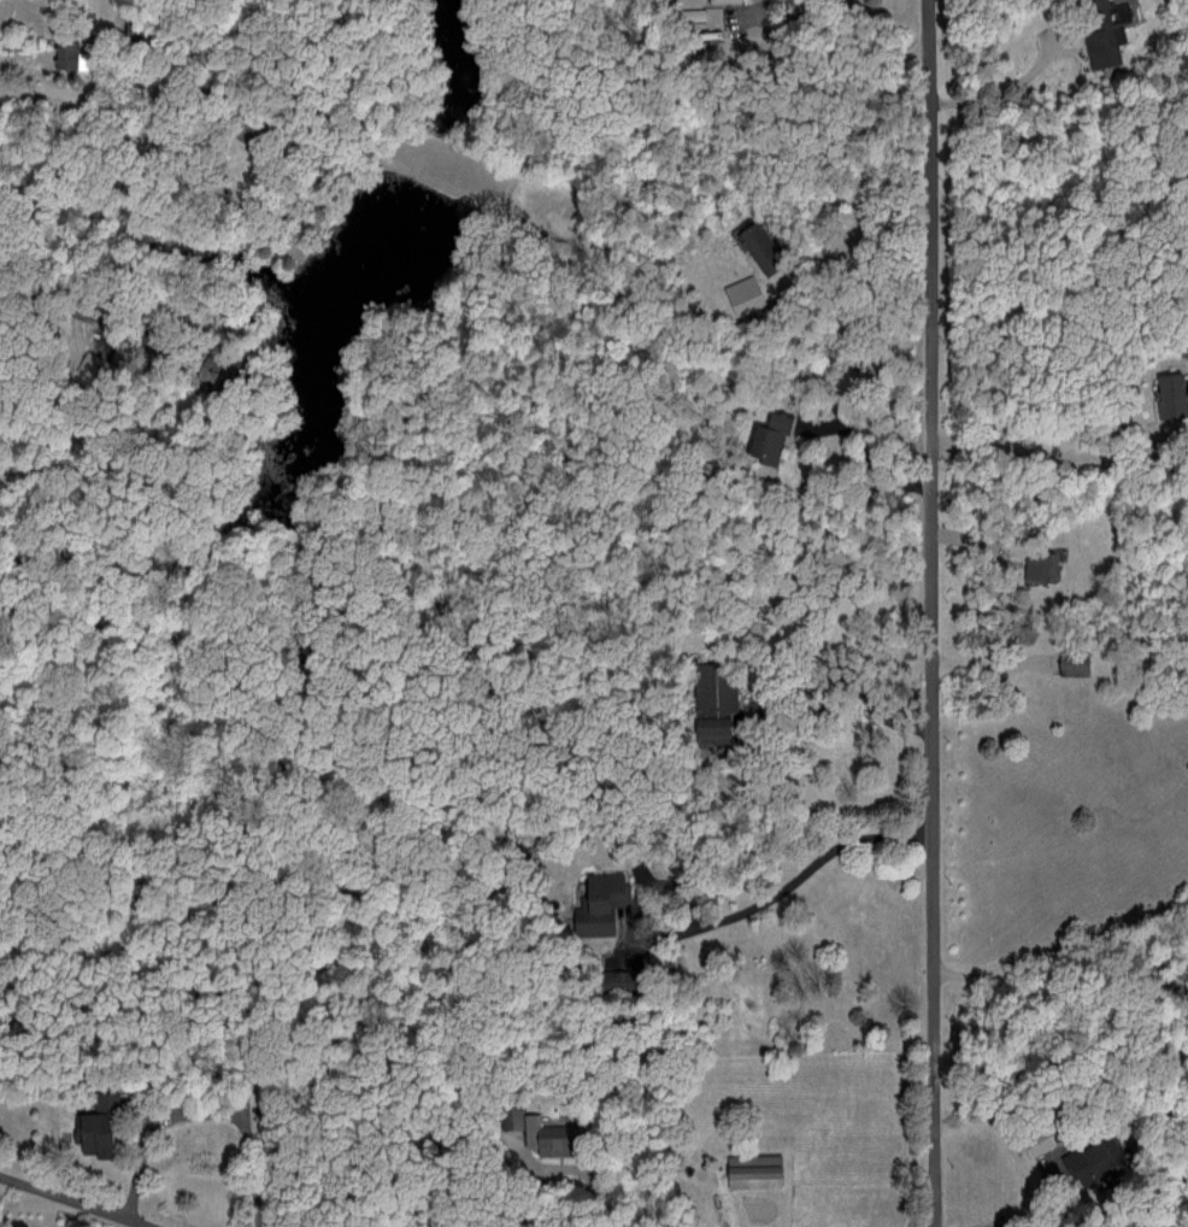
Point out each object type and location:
building: (1102, 33)
road: (1012, 94)
road: (106, 133)
road: (865, 222)
building: (742, 294)
road: (102, 324)
building: (1166, 394)
building: (765, 434)
road: (1054, 456)
road: (874, 459)
building: (1035, 565)
road: (929, 613)
road: (843, 708)
road: (781, 896)
building: (594, 905)
road: (1060, 958)
building: (508, 1109)
road: (198, 1123)
building: (92, 1133)
building: (539, 1134)
building: (1033, 1140)
building: (1087, 1161)
road: (569, 1167)
building: (748, 1169)
road: (1039, 1203)
road: (59, 1204)

